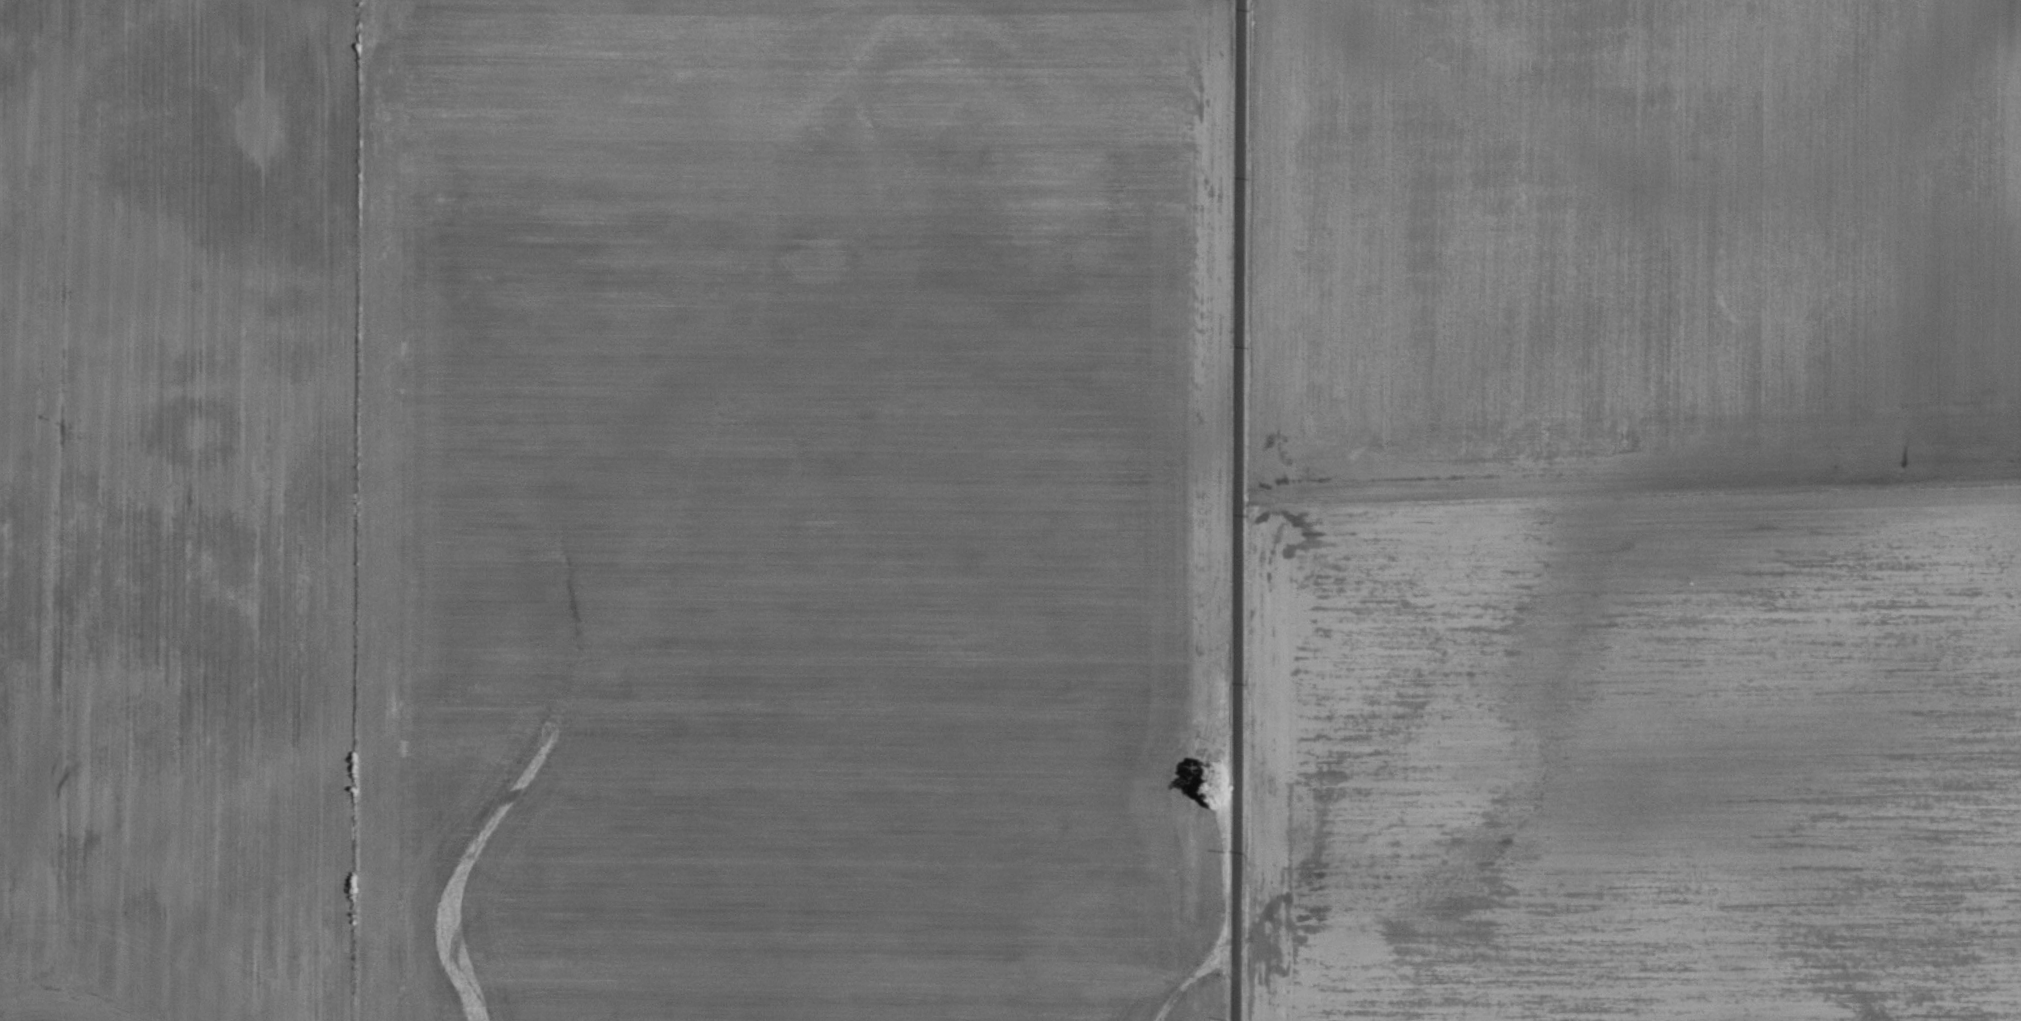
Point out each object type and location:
road: (1237, 510)

